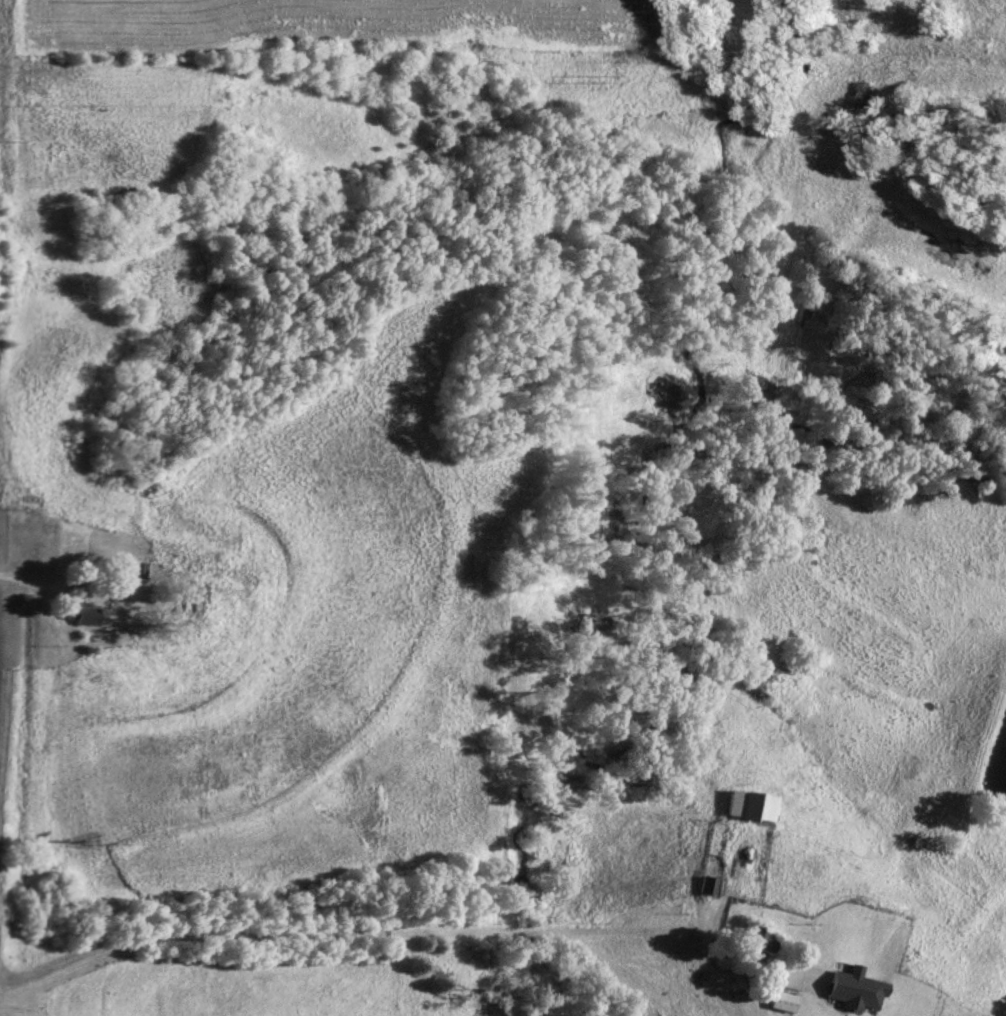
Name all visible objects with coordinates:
building: (135, 569)
building: (81, 614)
building: (751, 805)
building: (758, 940)
building: (856, 988)
building: (783, 1000)

